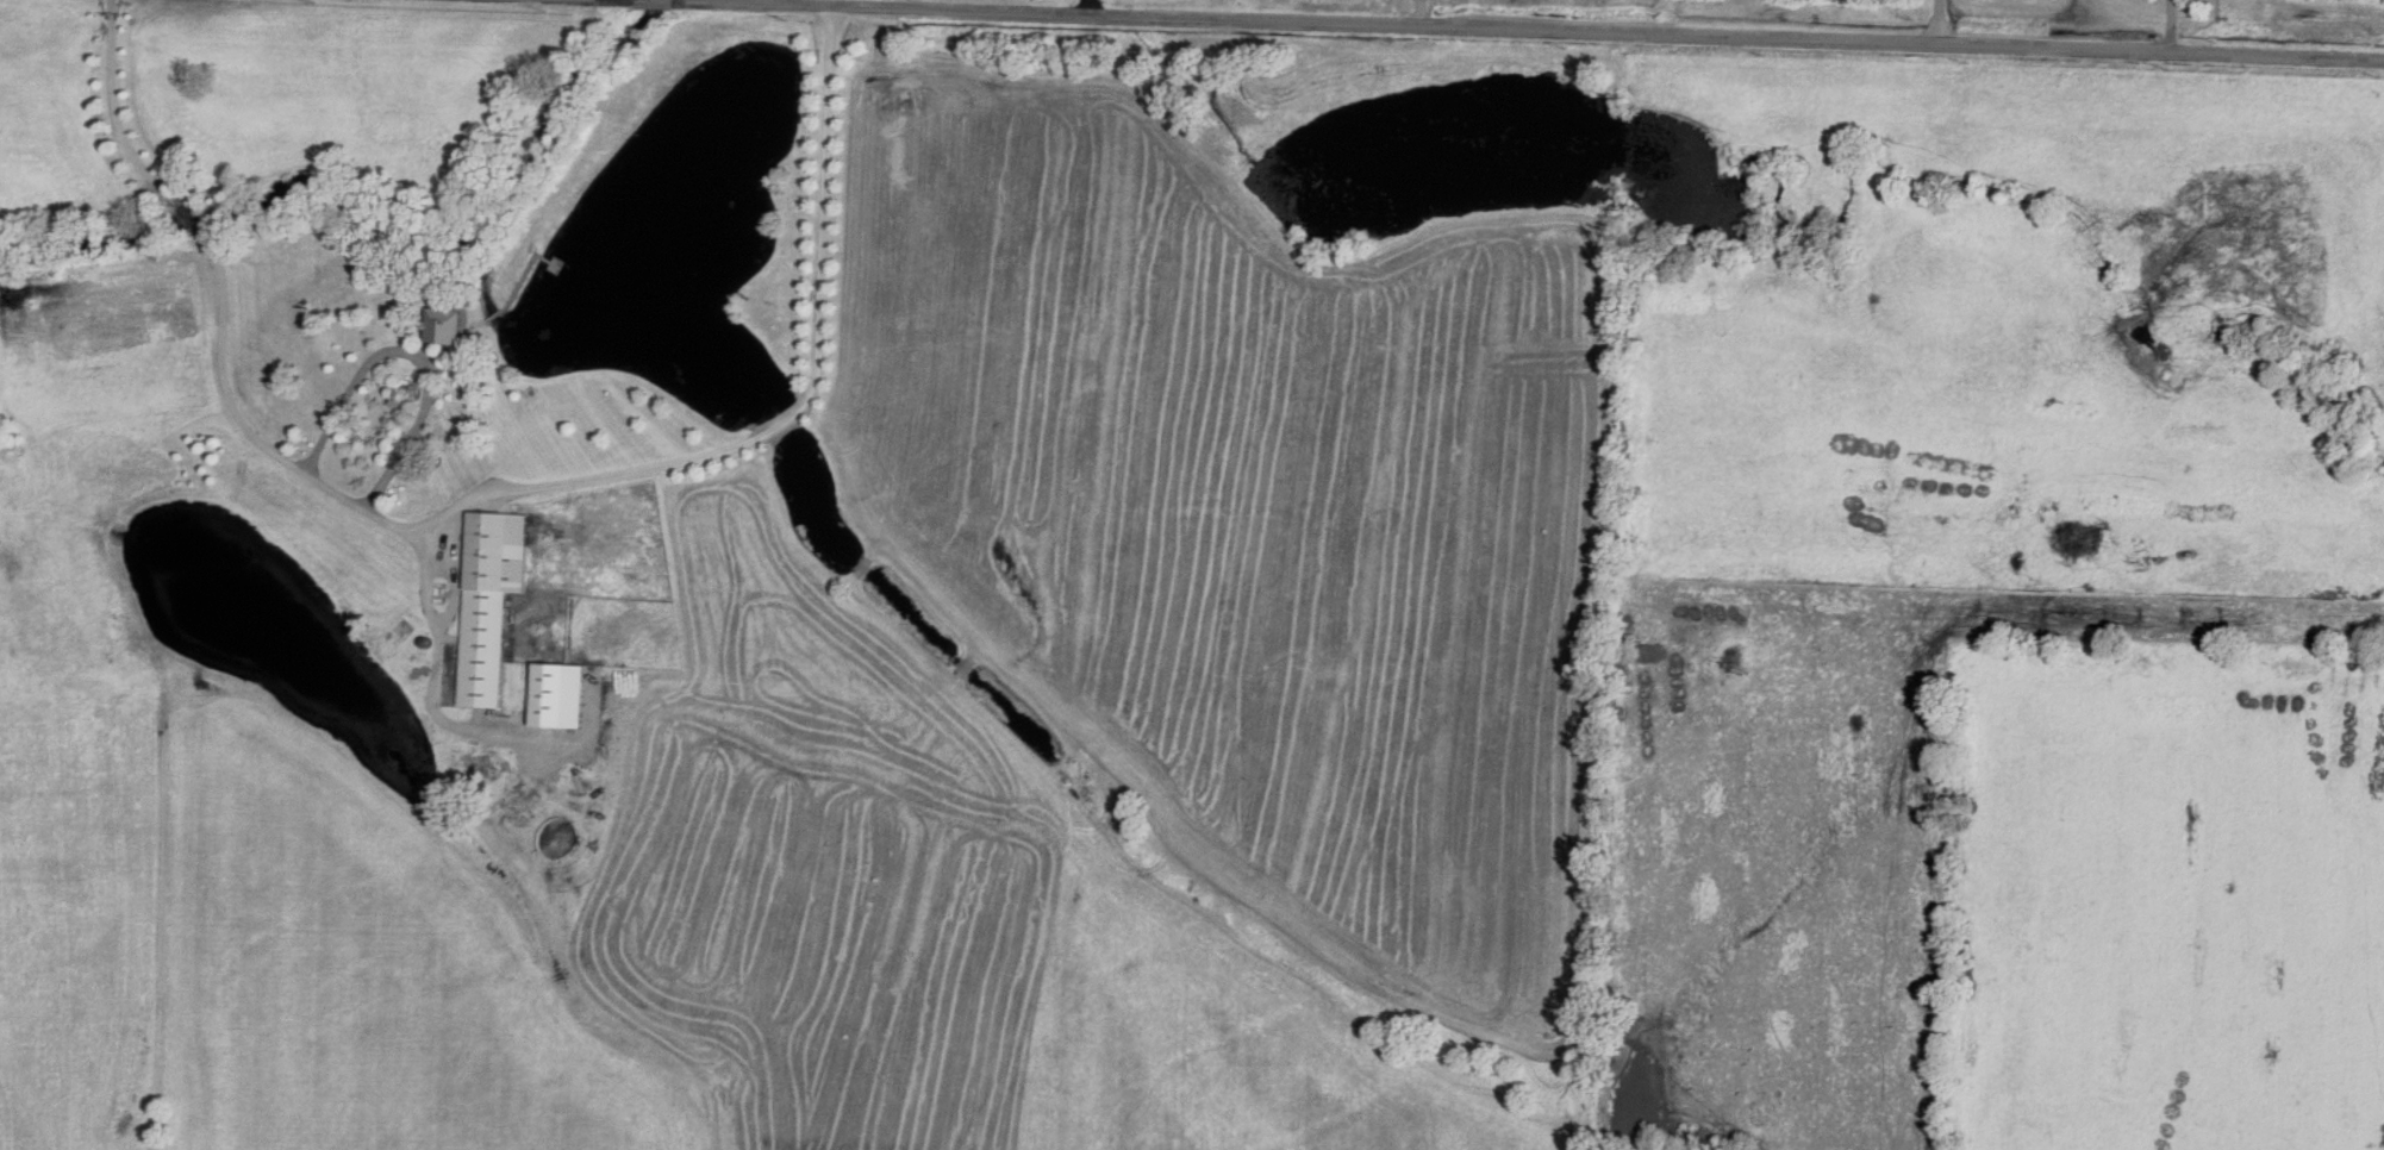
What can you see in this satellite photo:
road: (1353, 45)
road: (224, 305)
building: (492, 599)
crop: (725, 929)

